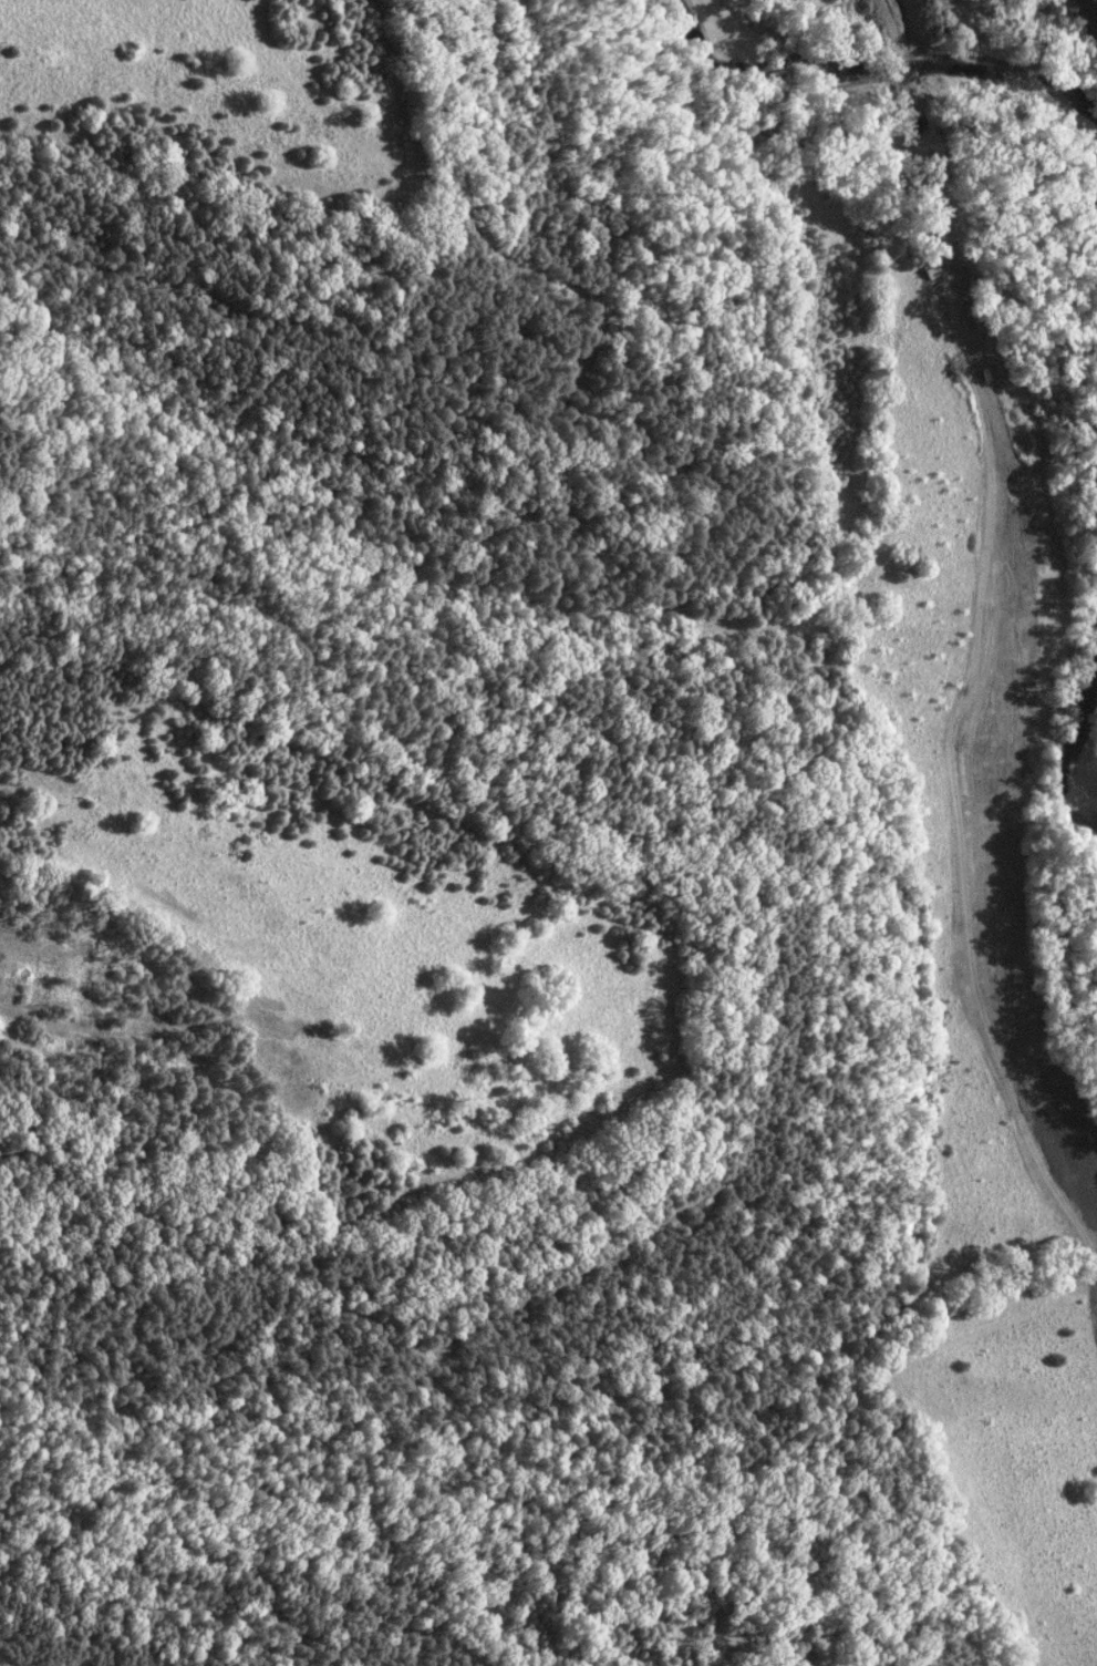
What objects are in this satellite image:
railway: (1089, 12)

